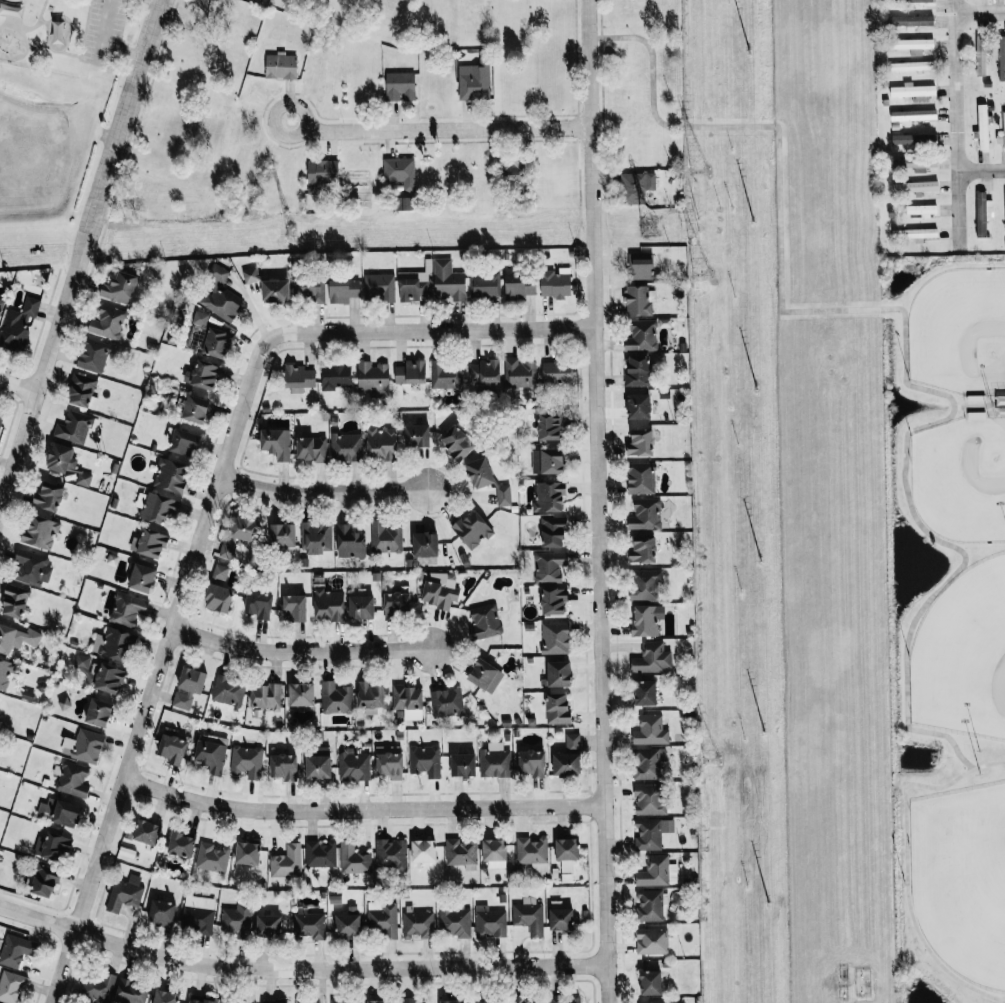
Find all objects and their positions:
road: (978, 12)
building: (909, 20)
road: (101, 43)
building: (911, 45)
building: (980, 55)
building: (1001, 58)
building: (911, 65)
building: (280, 66)
building: (474, 79)
building: (400, 86)
building: (913, 91)
building: (913, 115)
building: (1003, 122)
road: (954, 125)
building: (982, 126)
road: (436, 128)
building: (914, 139)
building: (914, 162)
power tower: (699, 169)
road: (980, 170)
building: (400, 171)
building: (515, 172)
building: (319, 174)
building: (635, 187)
building: (915, 187)
building: (1004, 198)
building: (402, 203)
building: (921, 210)
building: (982, 212)
power tower: (649, 226)
power tower: (289, 233)
building: (916, 233)
road: (80, 258)
building: (639, 265)
power tower: (701, 272)
building: (250, 275)
building: (448, 280)
building: (486, 283)
building: (554, 283)
building: (377, 286)
building: (414, 286)
building: (519, 286)
building: (309, 287)
building: (119, 288)
building: (276, 289)
building: (341, 290)
building: (219, 296)
building: (638, 301)
building: (1, 304)
building: (200, 318)
building: (107, 322)
building: (18, 324)
road: (903, 332)
building: (641, 335)
building: (218, 342)
building: (93, 355)
building: (637, 370)
building: (484, 371)
building: (410, 372)
building: (556, 372)
building: (206, 373)
building: (519, 373)
building: (444, 375)
building: (335, 376)
building: (298, 378)
building: (372, 378)
road: (20, 381)
building: (81, 389)
building: (638, 406)
building: (197, 408)
building: (0, 419)
building: (549, 426)
building: (73, 427)
building: (416, 435)
building: (184, 441)
building: (276, 442)
building: (457, 442)
building: (380, 443)
building: (639, 443)
building: (346, 447)
building: (311, 448)
building: (61, 458)
building: (546, 461)
building: (170, 475)
building: (83, 478)
building: (640, 478)
park: (960, 479)
building: (48, 496)
building: (548, 496)
road: (318, 501)
road: (597, 501)
building: (157, 505)
road: (207, 513)
building: (645, 514)
building: (245, 528)
building: (472, 529)
building: (41, 531)
building: (552, 531)
building: (282, 534)
building: (315, 536)
building: (385, 537)
building: (350, 542)
building: (152, 544)
building: (425, 544)
building: (227, 549)
building: (642, 549)
building: (549, 565)
building: (32, 567)
building: (220, 571)
building: (142, 578)
building: (644, 584)
building: (439, 593)
building: (217, 597)
building: (14, 600)
building: (553, 600)
building: (258, 604)
building: (328, 604)
building: (395, 604)
building: (293, 607)
building: (360, 607)
building: (127, 608)
building: (645, 619)
building: (484, 621)
park: (947, 629)
building: (16, 638)
building: (554, 638)
building: (117, 645)
road: (298, 655)
park: (963, 656)
building: (652, 658)
building: (81, 662)
building: (5, 672)
building: (481, 673)
building: (557, 674)
building: (109, 678)
building: (188, 687)
building: (228, 691)
building: (644, 693)
building: (301, 694)
building: (265, 695)
building: (369, 695)
building: (335, 698)
building: (408, 701)
building: (446, 702)
building: (557, 708)
building: (99, 712)
building: (650, 730)
building: (572, 742)
power tower: (710, 743)
building: (88, 745)
building: (172, 749)
building: (210, 755)
building: (425, 760)
building: (494, 760)
building: (246, 761)
building: (531, 762)
building: (318, 763)
building: (389, 763)
building: (647, 763)
building: (462, 764)
building: (566, 764)
building: (353, 765)
building: (284, 766)
building: (72, 777)
building: (649, 799)
road: (233, 804)
road: (476, 809)
building: (66, 814)
building: (146, 832)
building: (651, 832)
building: (181, 844)
building: (55, 847)
building: (423, 850)
building: (460, 852)
building: (532, 852)
building: (566, 852)
building: (247, 853)
building: (320, 853)
building: (494, 853)
building: (390, 855)
building: (212, 857)
building: (353, 858)
building: (286, 861)
road: (904, 864)
building: (656, 871)
park: (962, 880)
building: (44, 881)
building: (124, 893)
building: (649, 905)
building: (161, 912)
building: (197, 914)
building: (528, 915)
building: (383, 919)
building: (560, 919)
building: (236, 921)
building: (454, 921)
building: (489, 922)
building: (417, 924)
building: (267, 925)
building: (309, 925)
building: (347, 925)
building: (651, 941)
building: (16, 948)
road: (298, 975)
building: (650, 982)
building: (11, 986)
building: (97, 986)
building: (130, 992)
building: (165, 996)
building: (564, 998)
building: (481, 999)
building: (527, 999)
building: (408, 1000)
building: (201, 1001)
building: (301, 1001)
building: (336, 1001)
building: (378, 1001)
building: (451, 1001)

